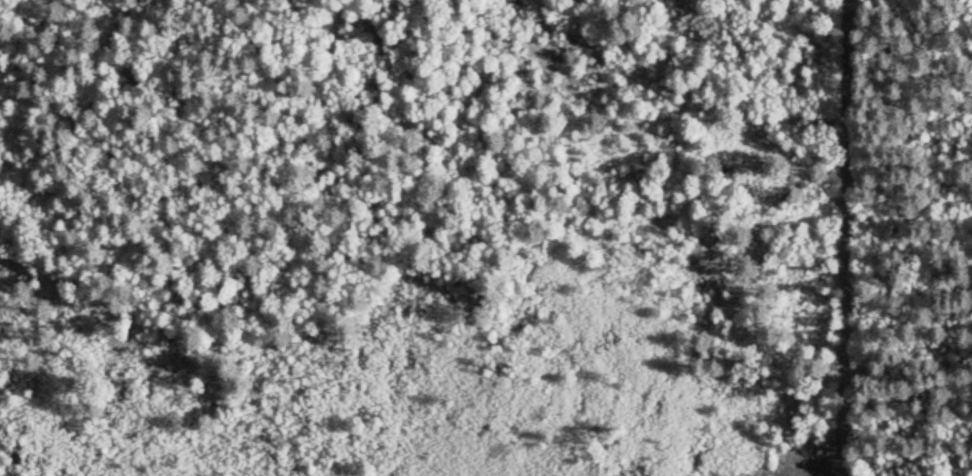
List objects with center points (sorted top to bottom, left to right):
road: (846, 238)

